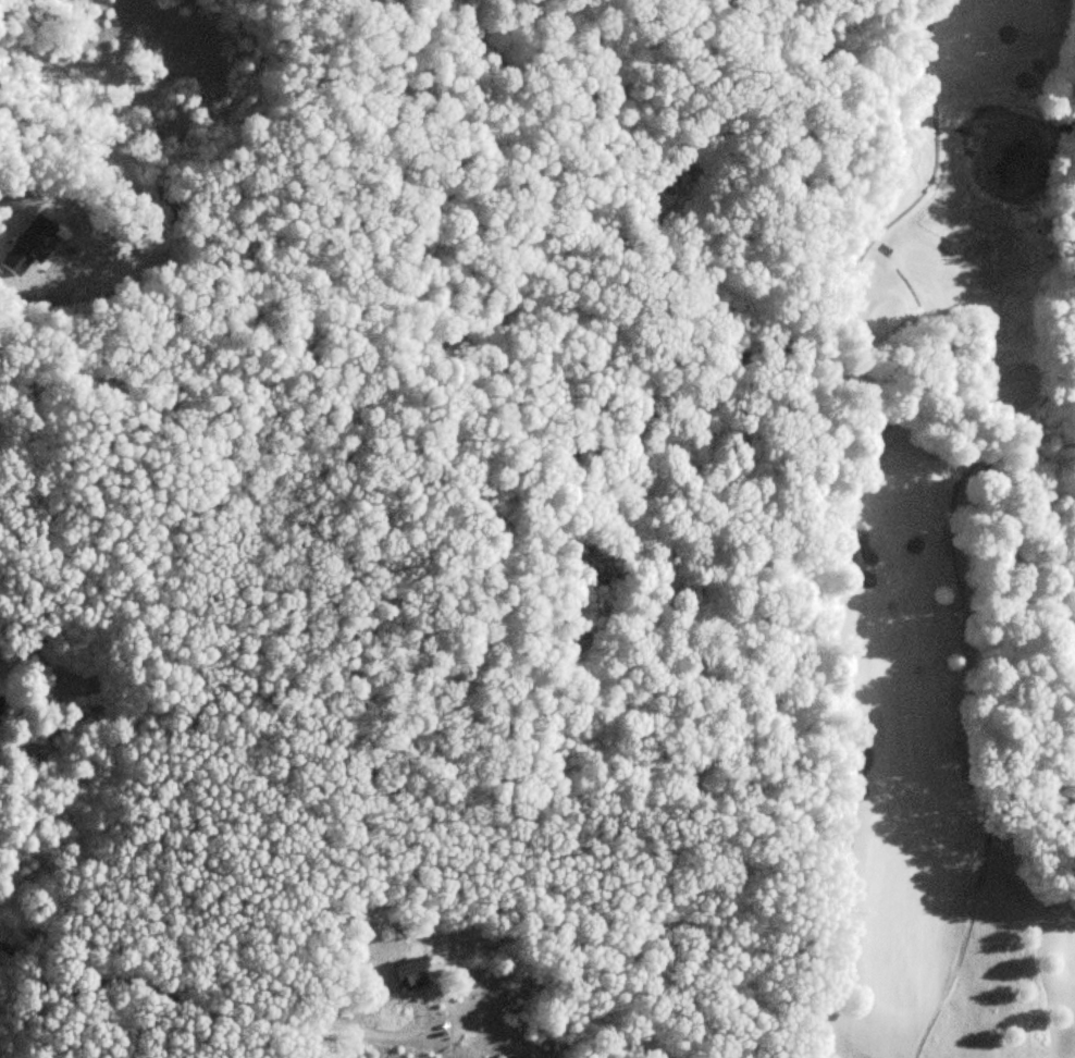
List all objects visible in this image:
park: (923, 519)
building: (405, 977)
road: (199, 1008)

